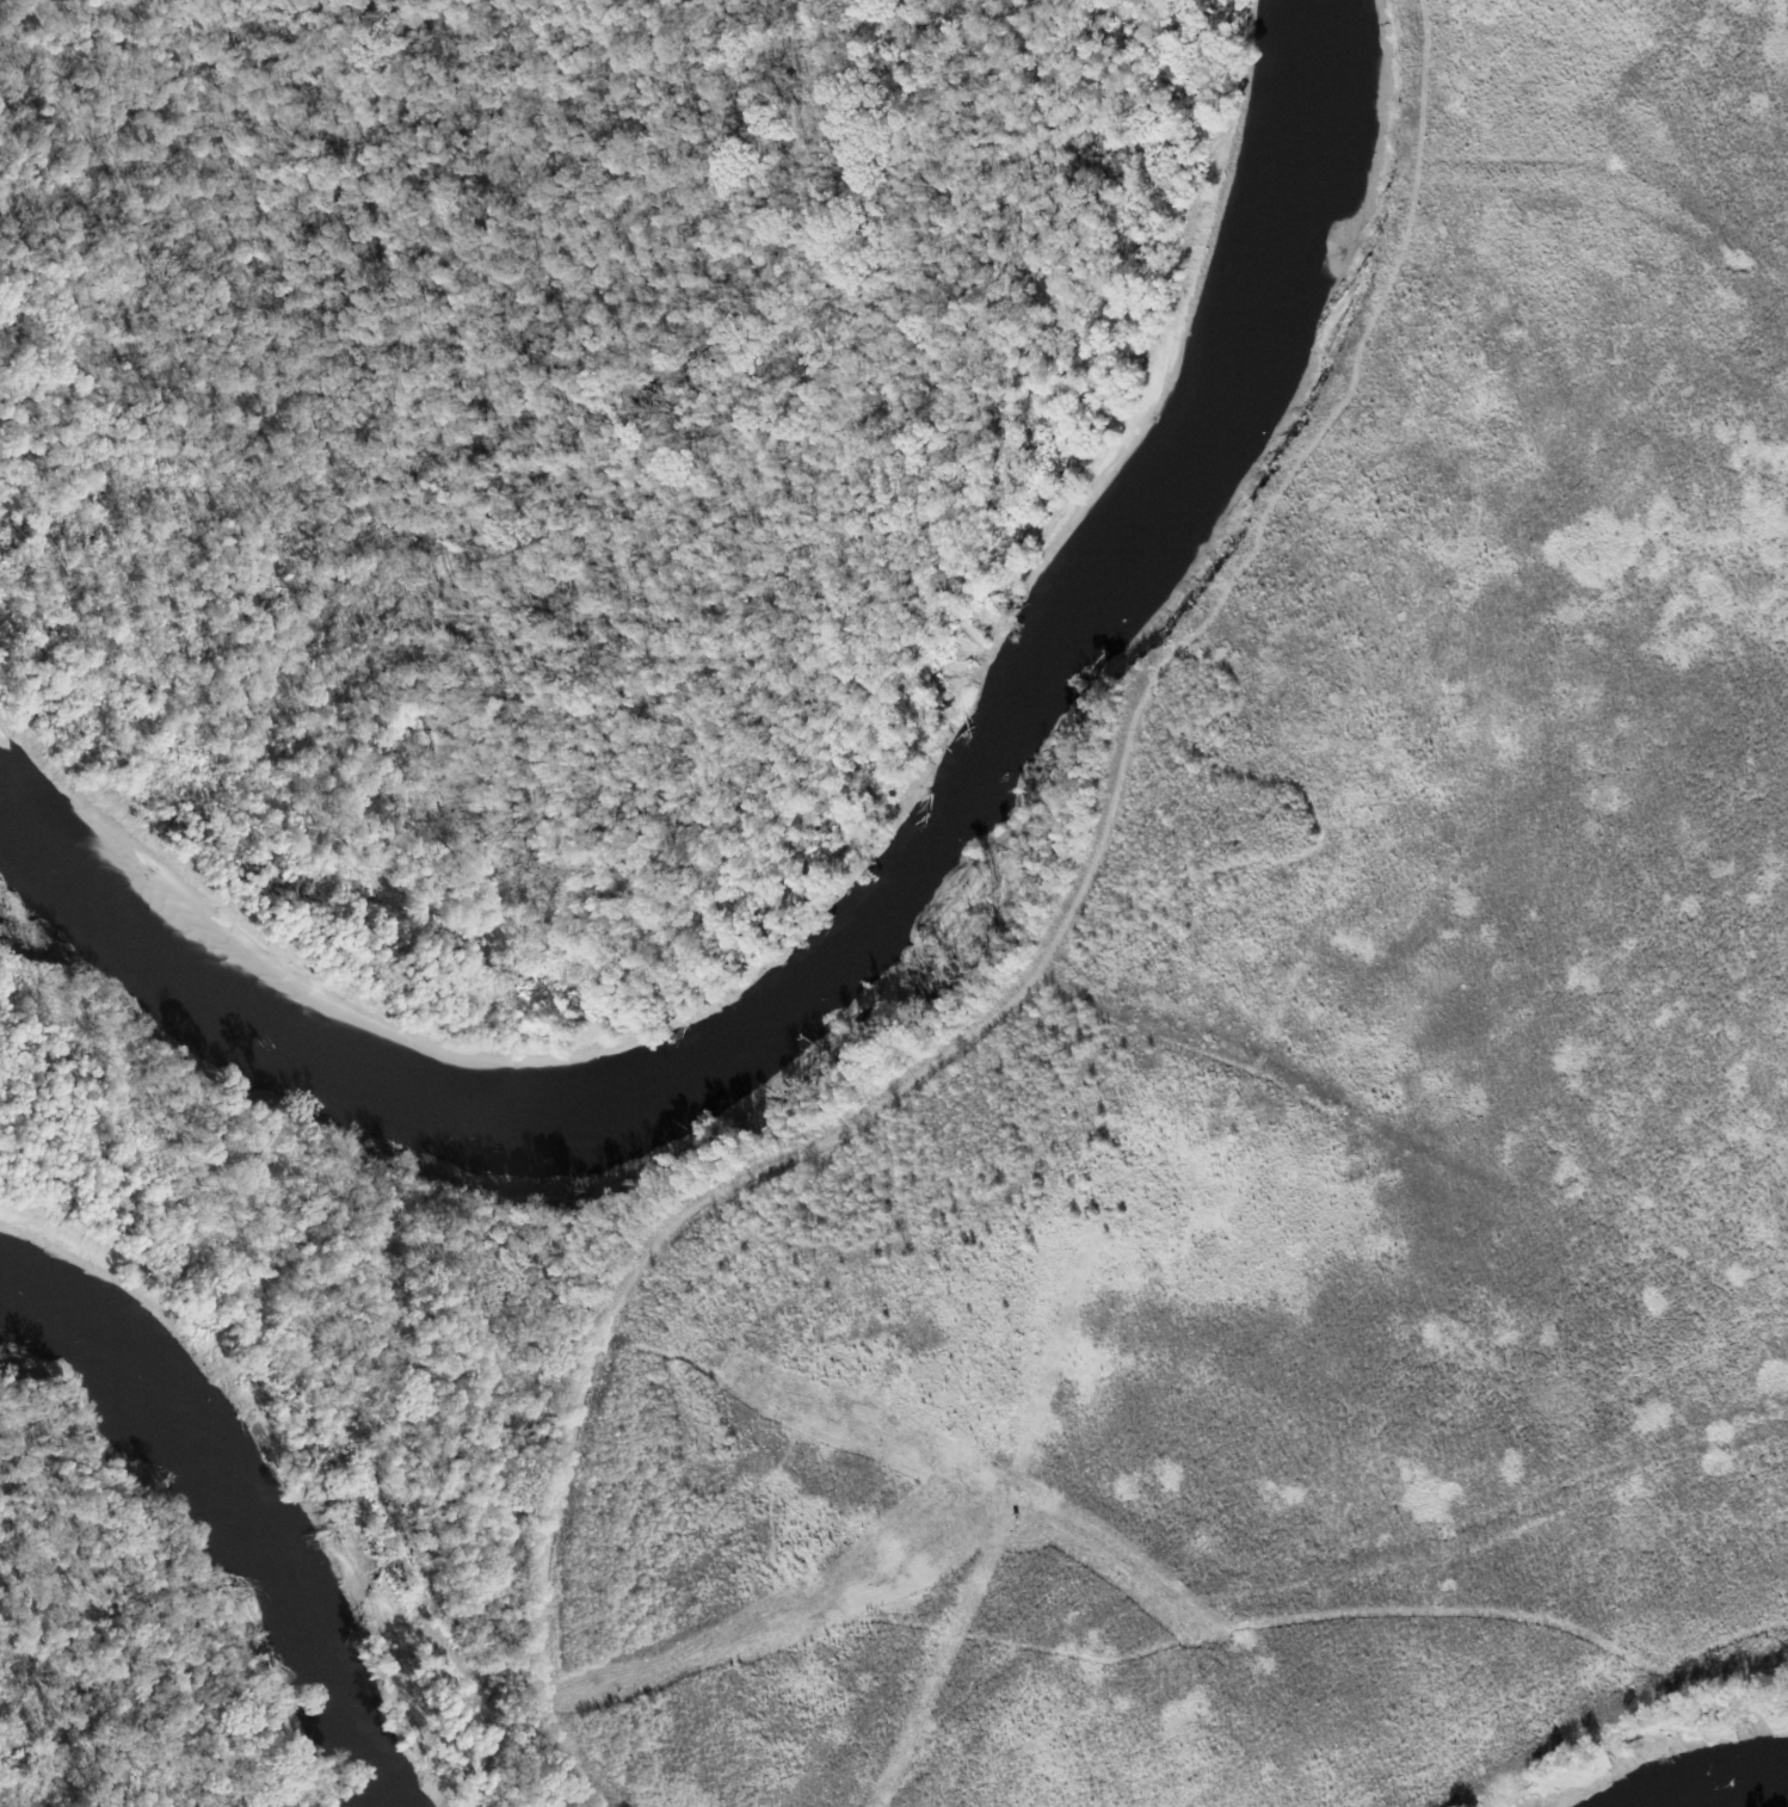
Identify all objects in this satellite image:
river: (865, 908)
river: (253, 1492)
river: (1759, 1799)

